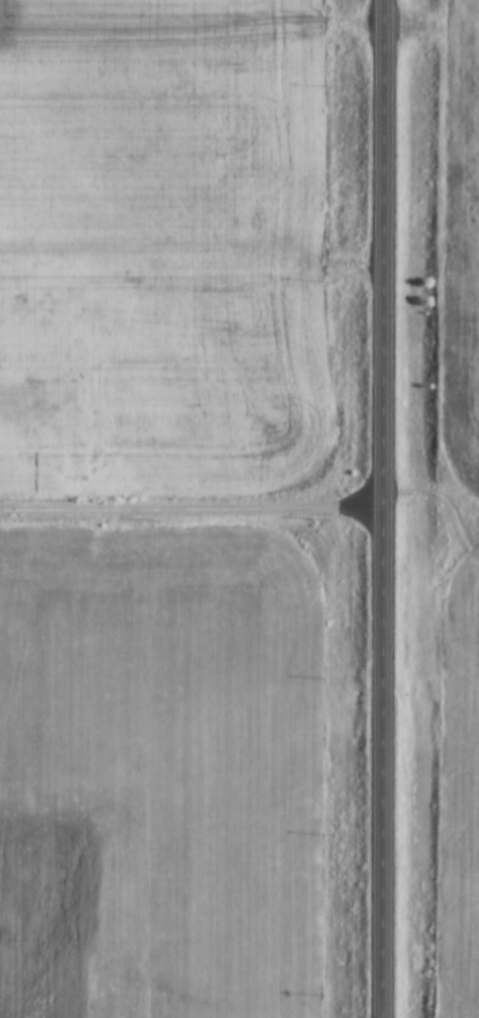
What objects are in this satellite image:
road: (191, 261)
road: (192, 509)
road: (384, 509)

